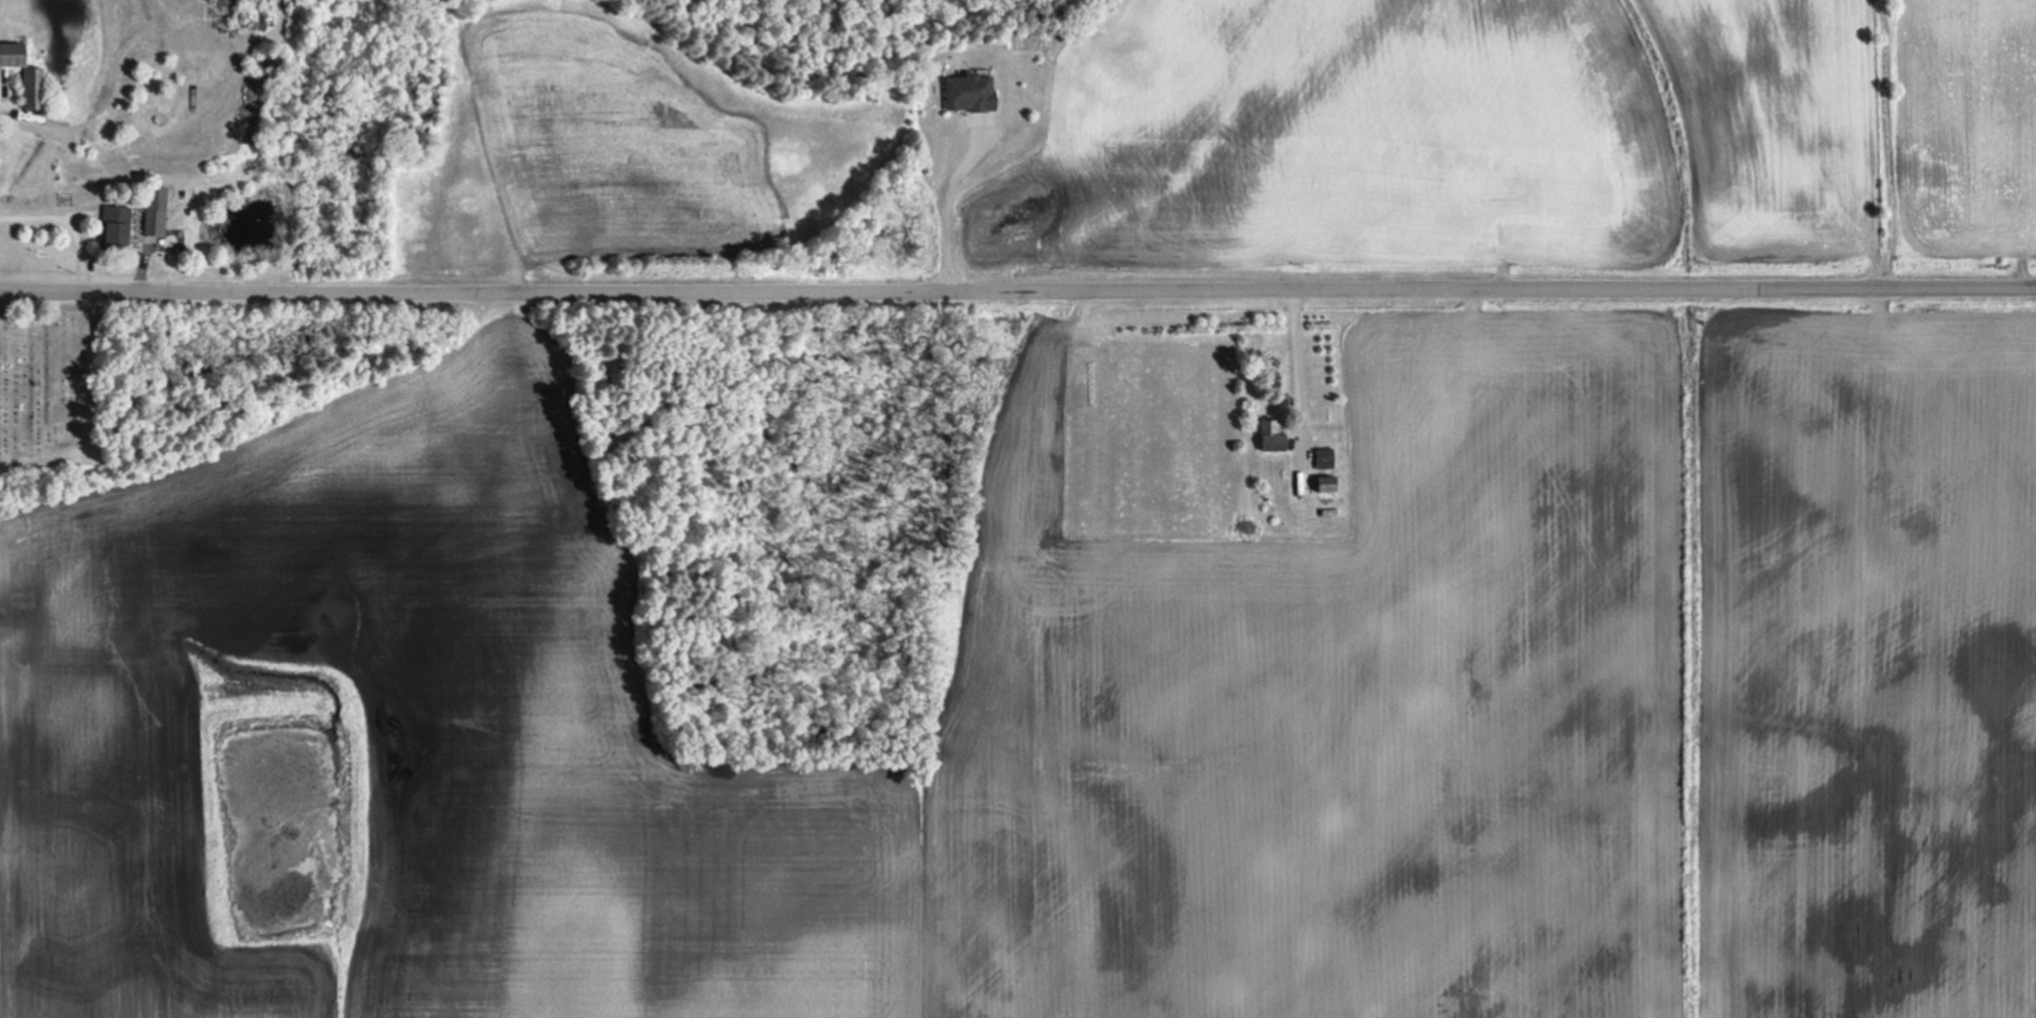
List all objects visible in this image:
building: (13, 54)
building: (34, 88)
building: (971, 93)
road: (28, 120)
building: (155, 211)
road: (949, 212)
road: (72, 219)
building: (116, 227)
road: (1018, 292)
road: (1297, 368)
park: (81, 392)
building: (1273, 437)
building: (1326, 458)
building: (1328, 484)

